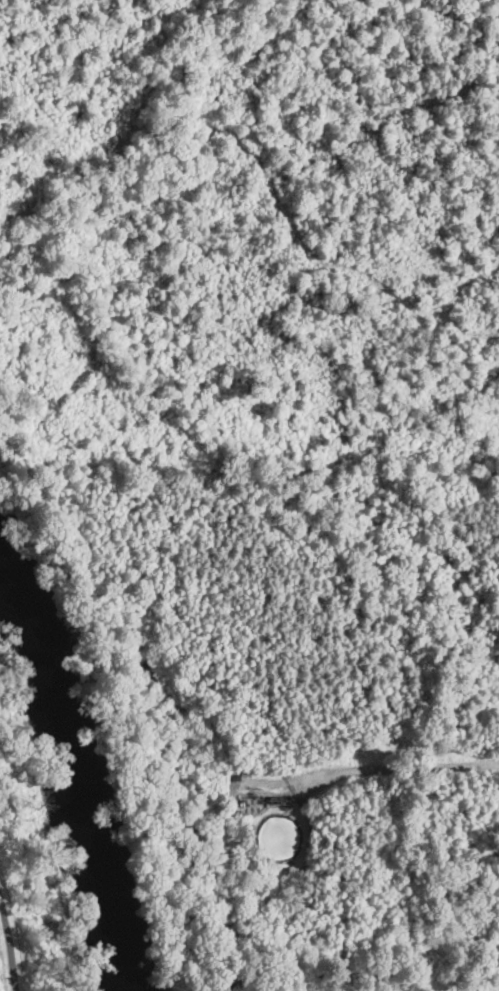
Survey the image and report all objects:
road: (392, 767)
river: (72, 773)
building: (236, 776)
building: (279, 798)
road: (9, 944)

